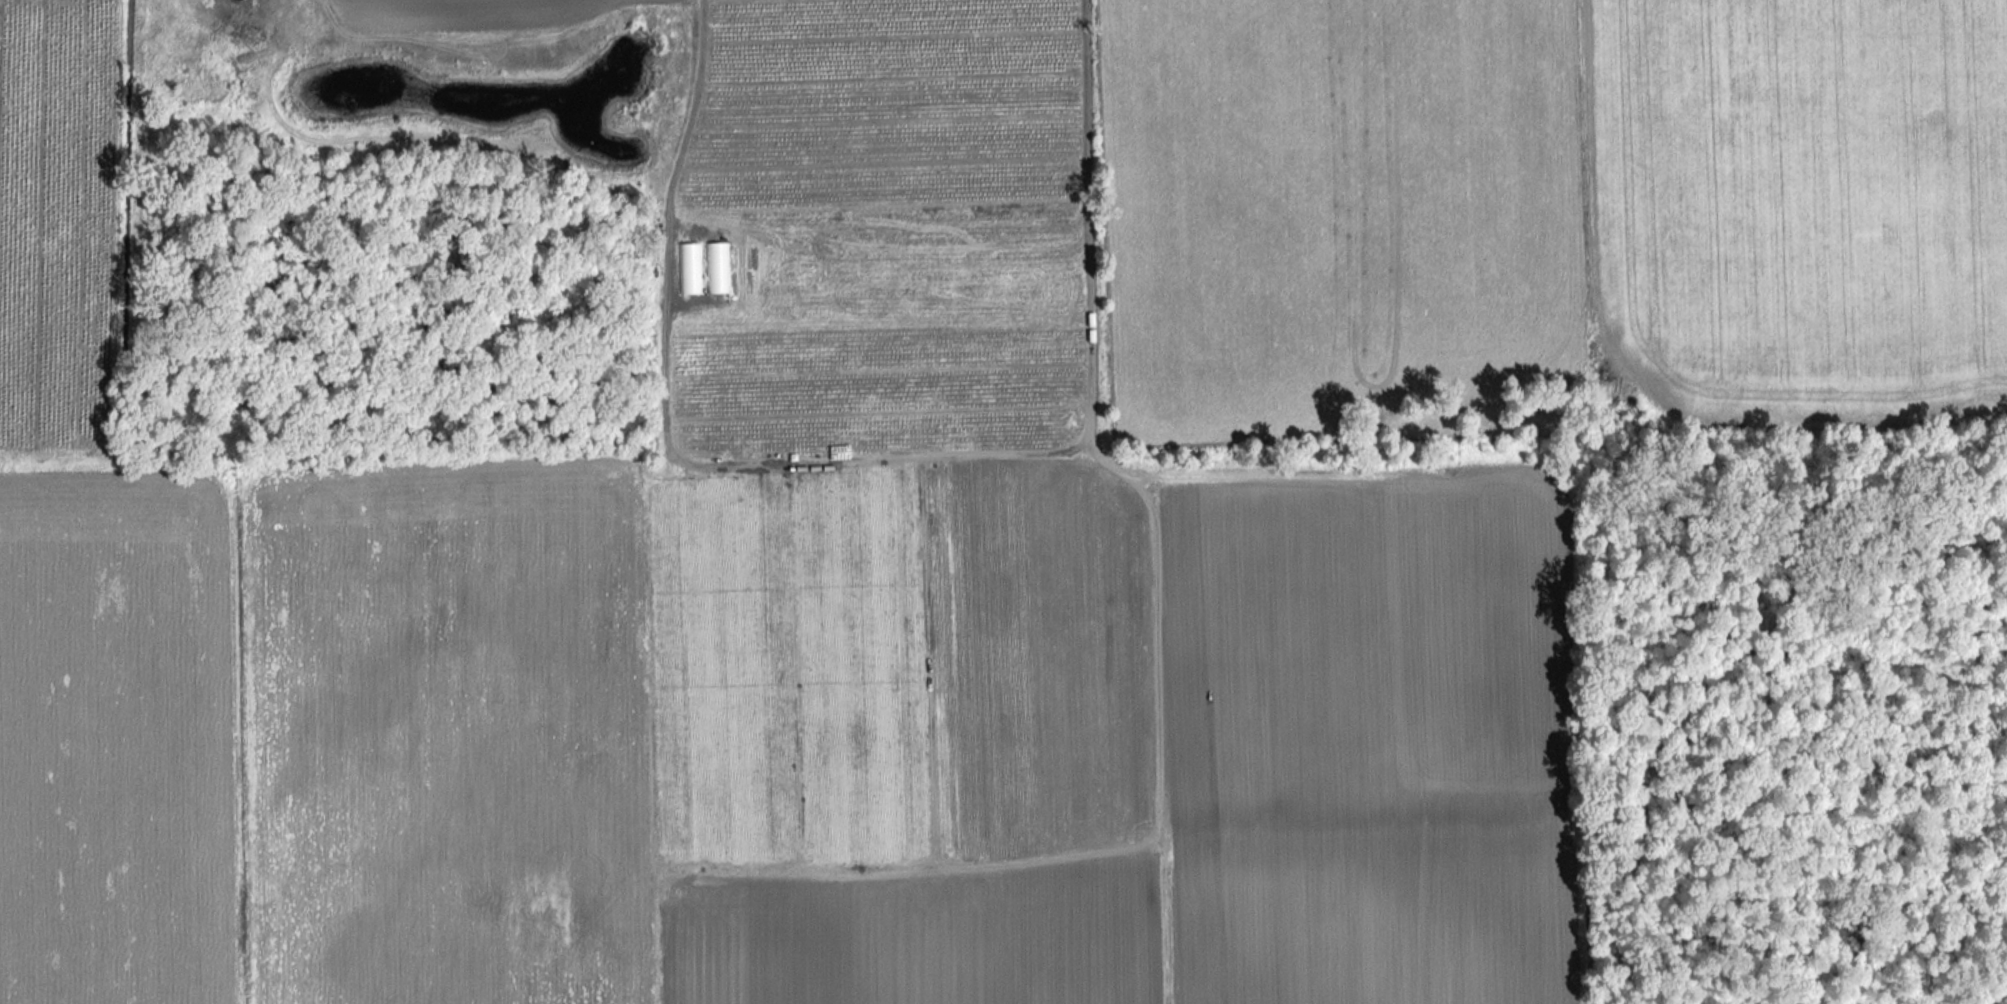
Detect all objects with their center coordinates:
crop: (542, 13)
crop: (878, 103)
crop: (1803, 207)
crop: (1326, 215)
crop: (56, 224)
crop: (867, 387)
road: (873, 462)
crop: (115, 737)
crop: (831, 760)

